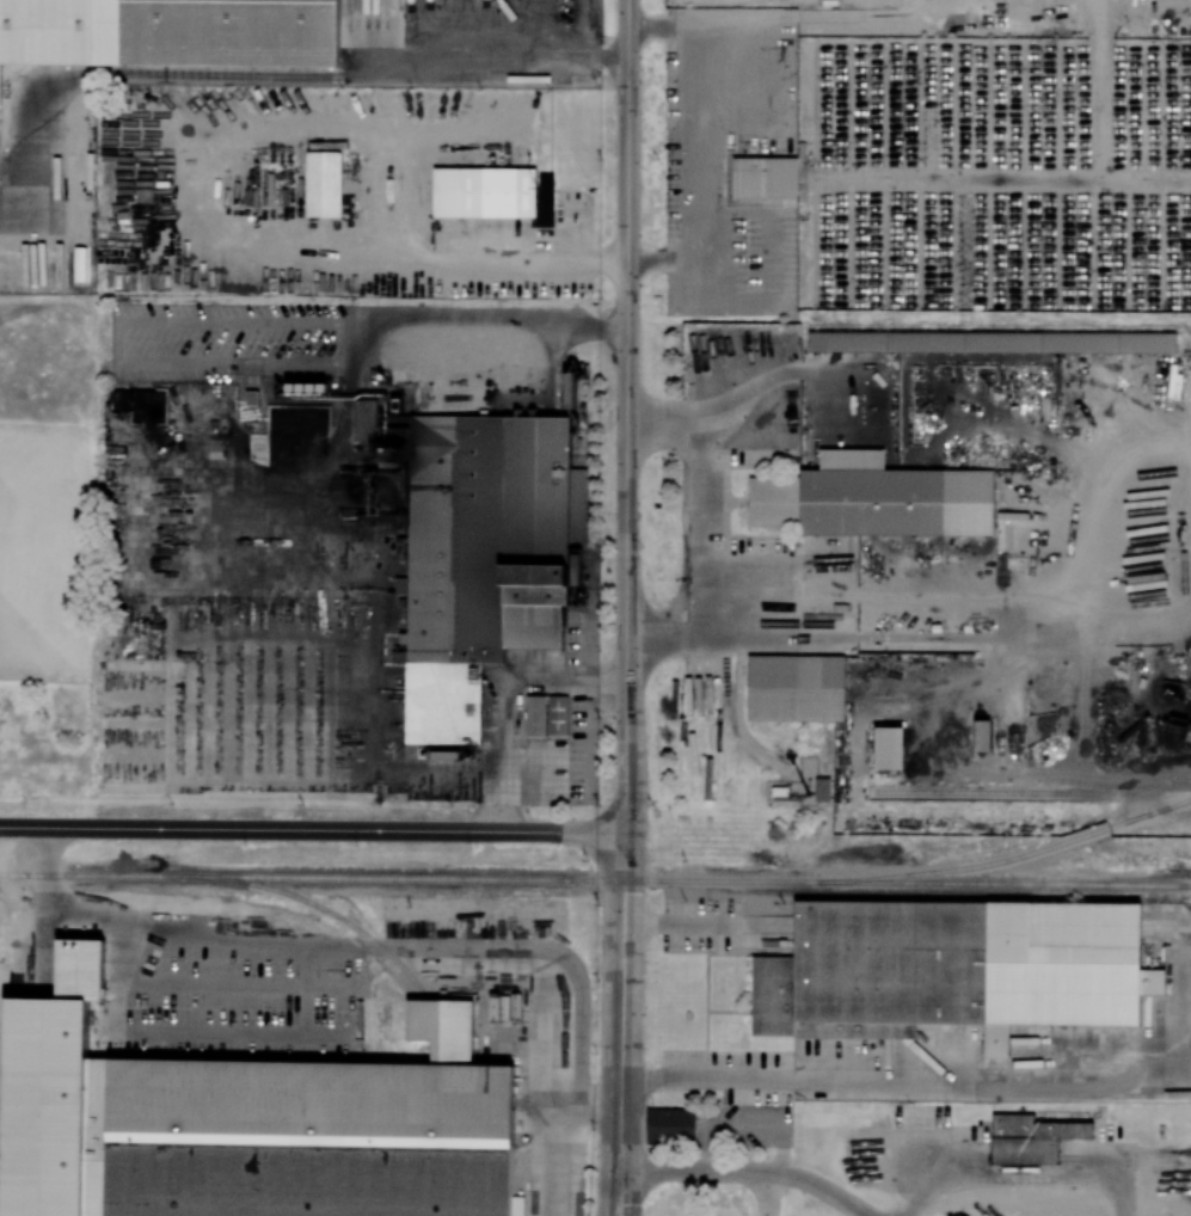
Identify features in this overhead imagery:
building: (170, 32)
road: (496, 63)
road: (700, 143)
building: (765, 176)
building: (325, 182)
building: (487, 191)
building: (544, 201)
road: (536, 260)
road: (534, 334)
building: (992, 342)
building: (570, 388)
road: (628, 416)
building: (897, 503)
road: (707, 538)
building: (478, 551)
building: (796, 686)
road: (505, 695)
building: (547, 716)
building: (890, 744)
building: (822, 790)
railway: (1033, 792)
road: (313, 830)
railway: (1019, 856)
road: (30, 868)
railway: (595, 879)
railway: (327, 909)
road: (14, 923)
road: (682, 925)
road: (428, 948)
building: (1067, 962)
road: (622, 1024)
road: (907, 1074)
building: (42, 1106)
road: (598, 1111)
building: (671, 1125)
building: (1031, 1138)
road: (749, 1174)
road: (767, 1196)

